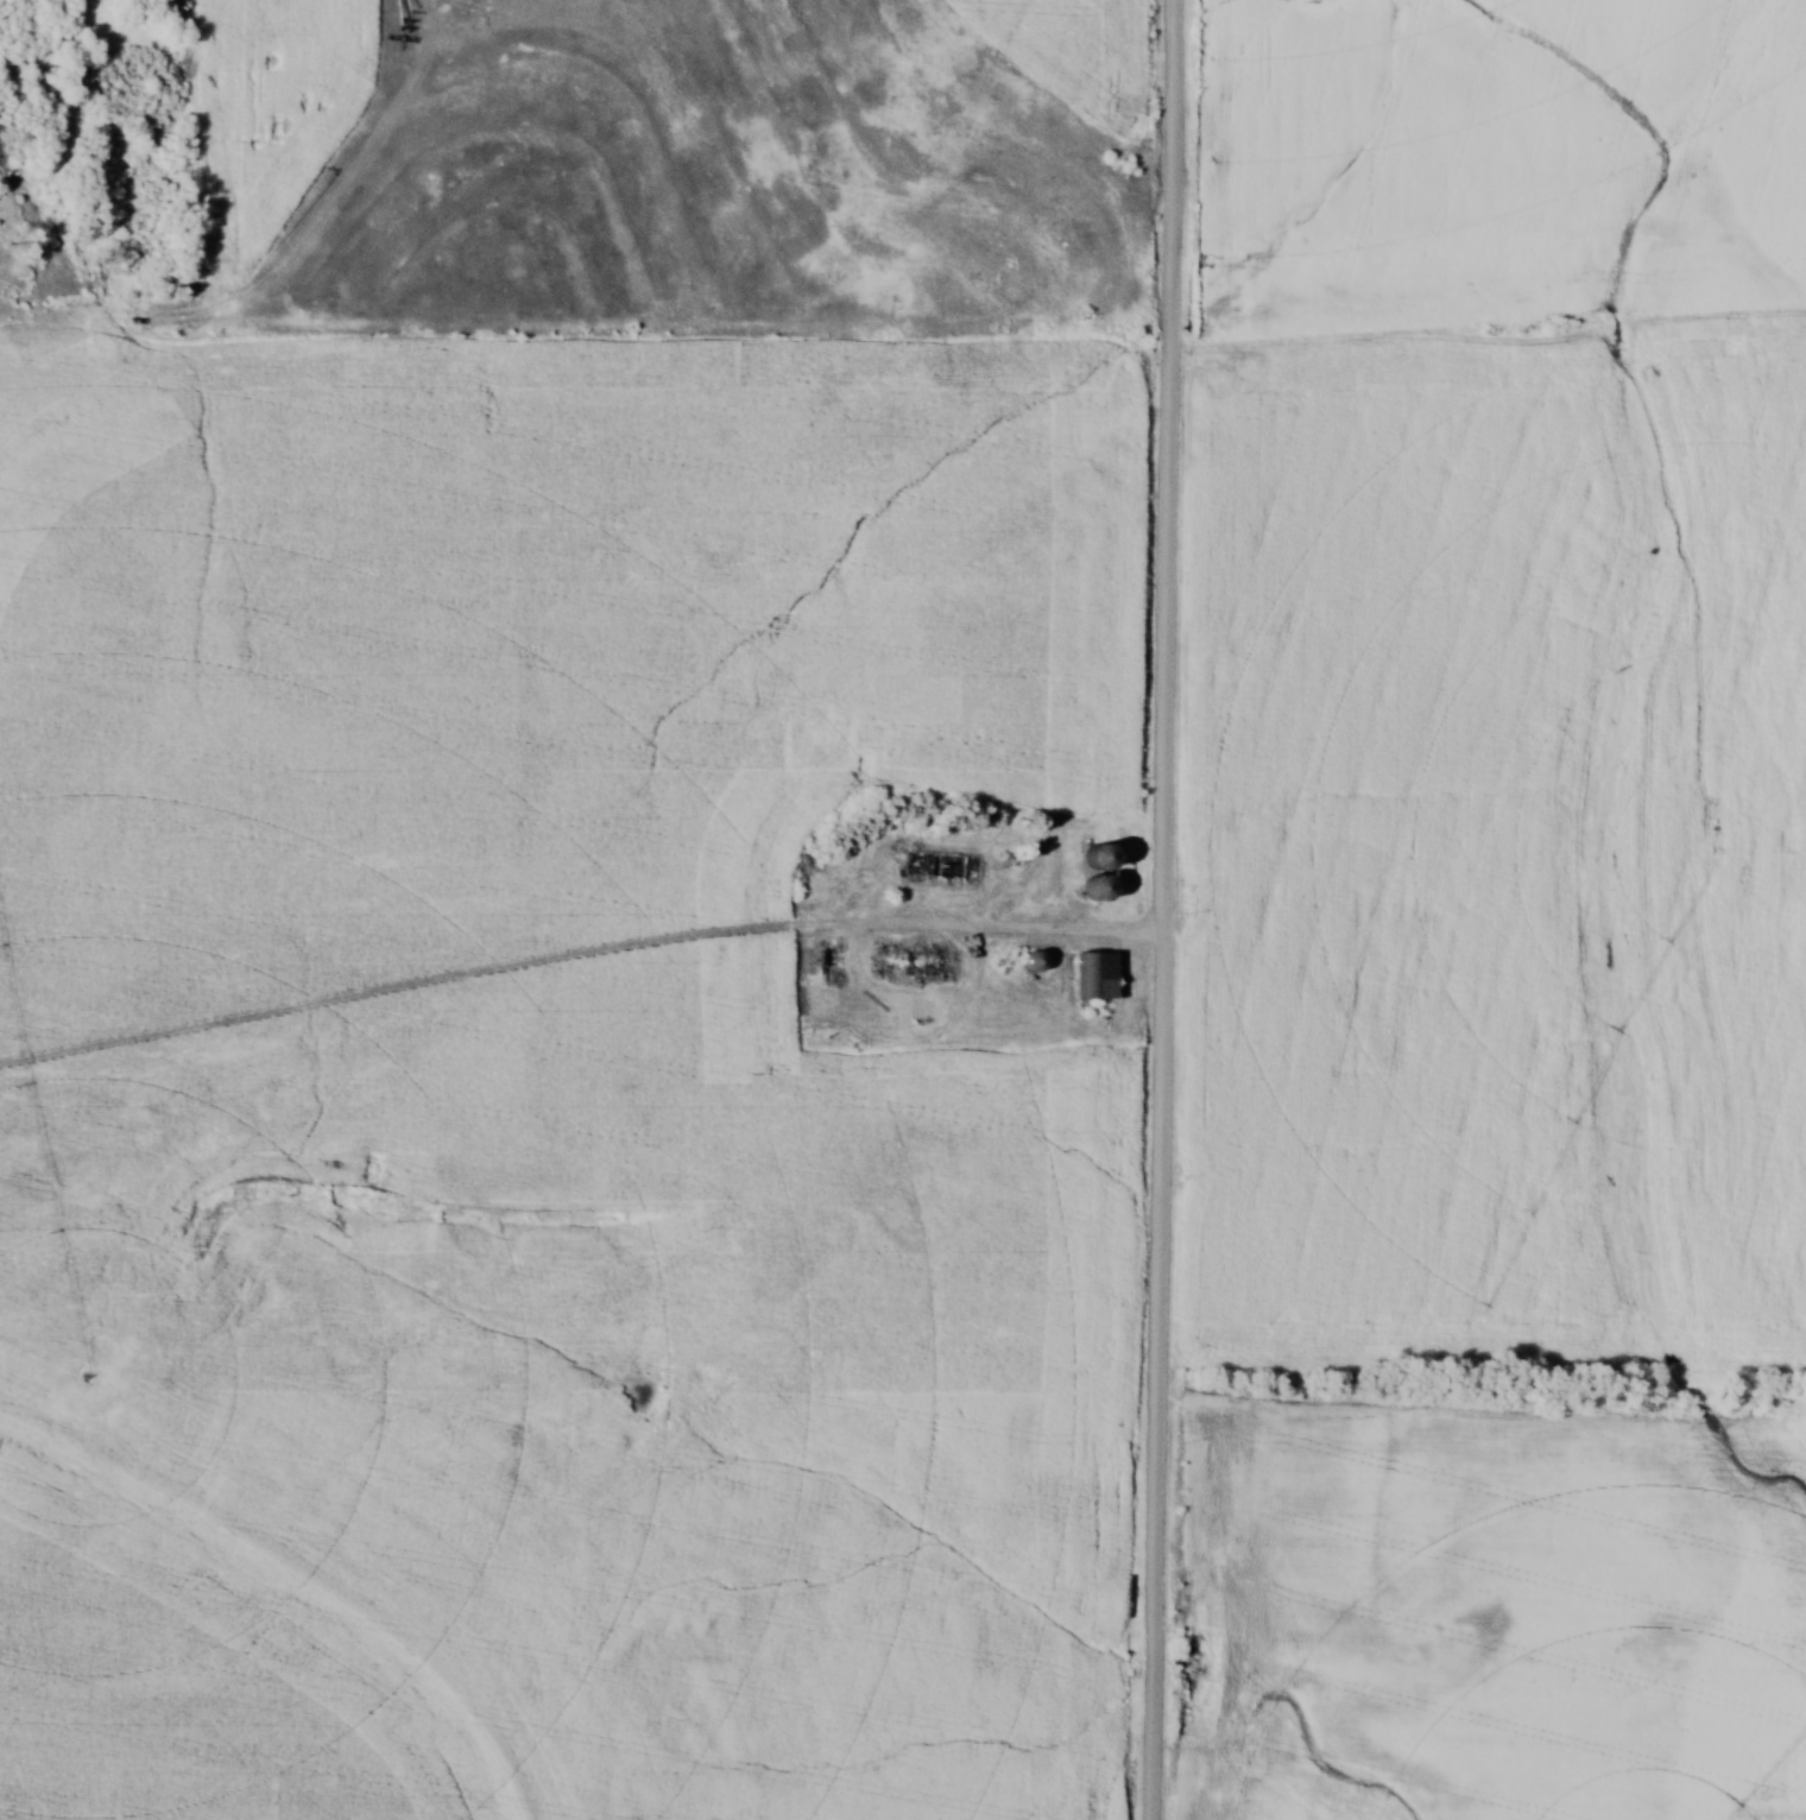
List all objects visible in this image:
building: (937, 866)
road: (1167, 910)
road: (1043, 927)
building: (1030, 962)
building: (913, 963)
building: (997, 965)
building: (1093, 977)
building: (918, 1013)

